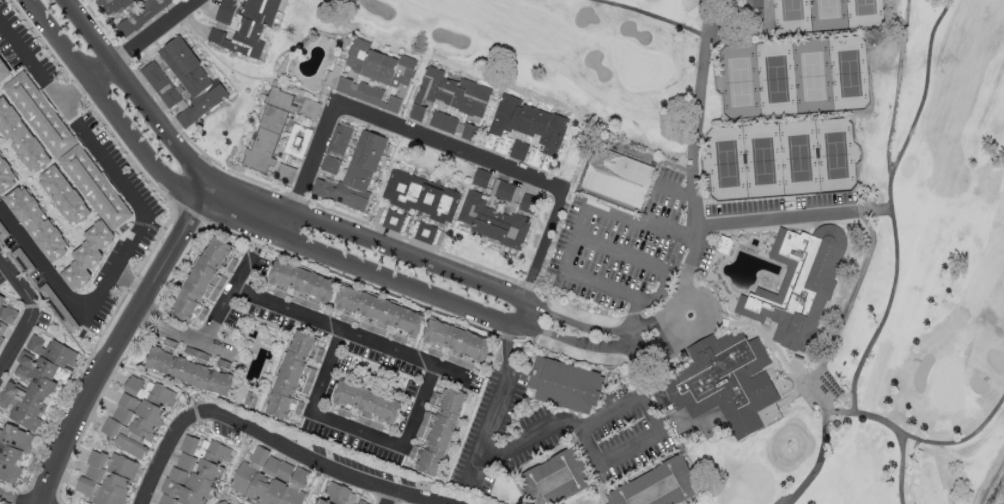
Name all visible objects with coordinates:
building: (110, 5)
building: (757, 8)
road: (653, 15)
building: (141, 16)
building: (243, 25)
road: (143, 41)
park: (554, 51)
road: (31, 62)
building: (4, 72)
building: (375, 76)
road: (80, 89)
building: (449, 94)
park: (793, 104)
building: (443, 121)
building: (529, 123)
building: (269, 131)
building: (468, 131)
building: (21, 137)
building: (298, 141)
road: (435, 143)
building: (337, 147)
road: (693, 147)
building: (68, 150)
building: (519, 150)
building: (285, 173)
building: (355, 173)
building: (5, 177)
building: (617, 177)
building: (481, 178)
road: (120, 180)
road: (677, 188)
building: (506, 191)
building: (64, 195)
building: (421, 196)
building: (528, 204)
road: (890, 204)
building: (393, 219)
road: (780, 219)
building: (493, 221)
building: (38, 223)
building: (425, 232)
building: (3, 233)
building: (724, 245)
building: (88, 255)
parking lot: (609, 256)
road: (634, 257)
building: (23, 261)
building: (206, 280)
building: (301, 285)
building: (799, 285)
road: (68, 299)
road: (225, 302)
road: (674, 302)
park: (913, 302)
road: (30, 314)
building: (380, 314)
building: (6, 317)
road: (517, 325)
road: (600, 331)
road: (350, 332)
road: (183, 335)
road: (120, 340)
building: (457, 344)
road: (602, 348)
road: (633, 349)
road: (777, 349)
building: (190, 367)
building: (295, 375)
building: (727, 380)
building: (35, 381)
building: (566, 385)
building: (367, 405)
road: (500, 407)
building: (139, 416)
road: (873, 417)
road: (357, 429)
building: (437, 429)
building: (12, 452)
road: (302, 456)
road: (608, 463)
road: (901, 468)
road: (158, 470)
building: (195, 472)
building: (107, 478)
building: (270, 479)
building: (554, 479)
building: (657, 486)
building: (337, 495)
road: (389, 498)
road: (7, 501)

